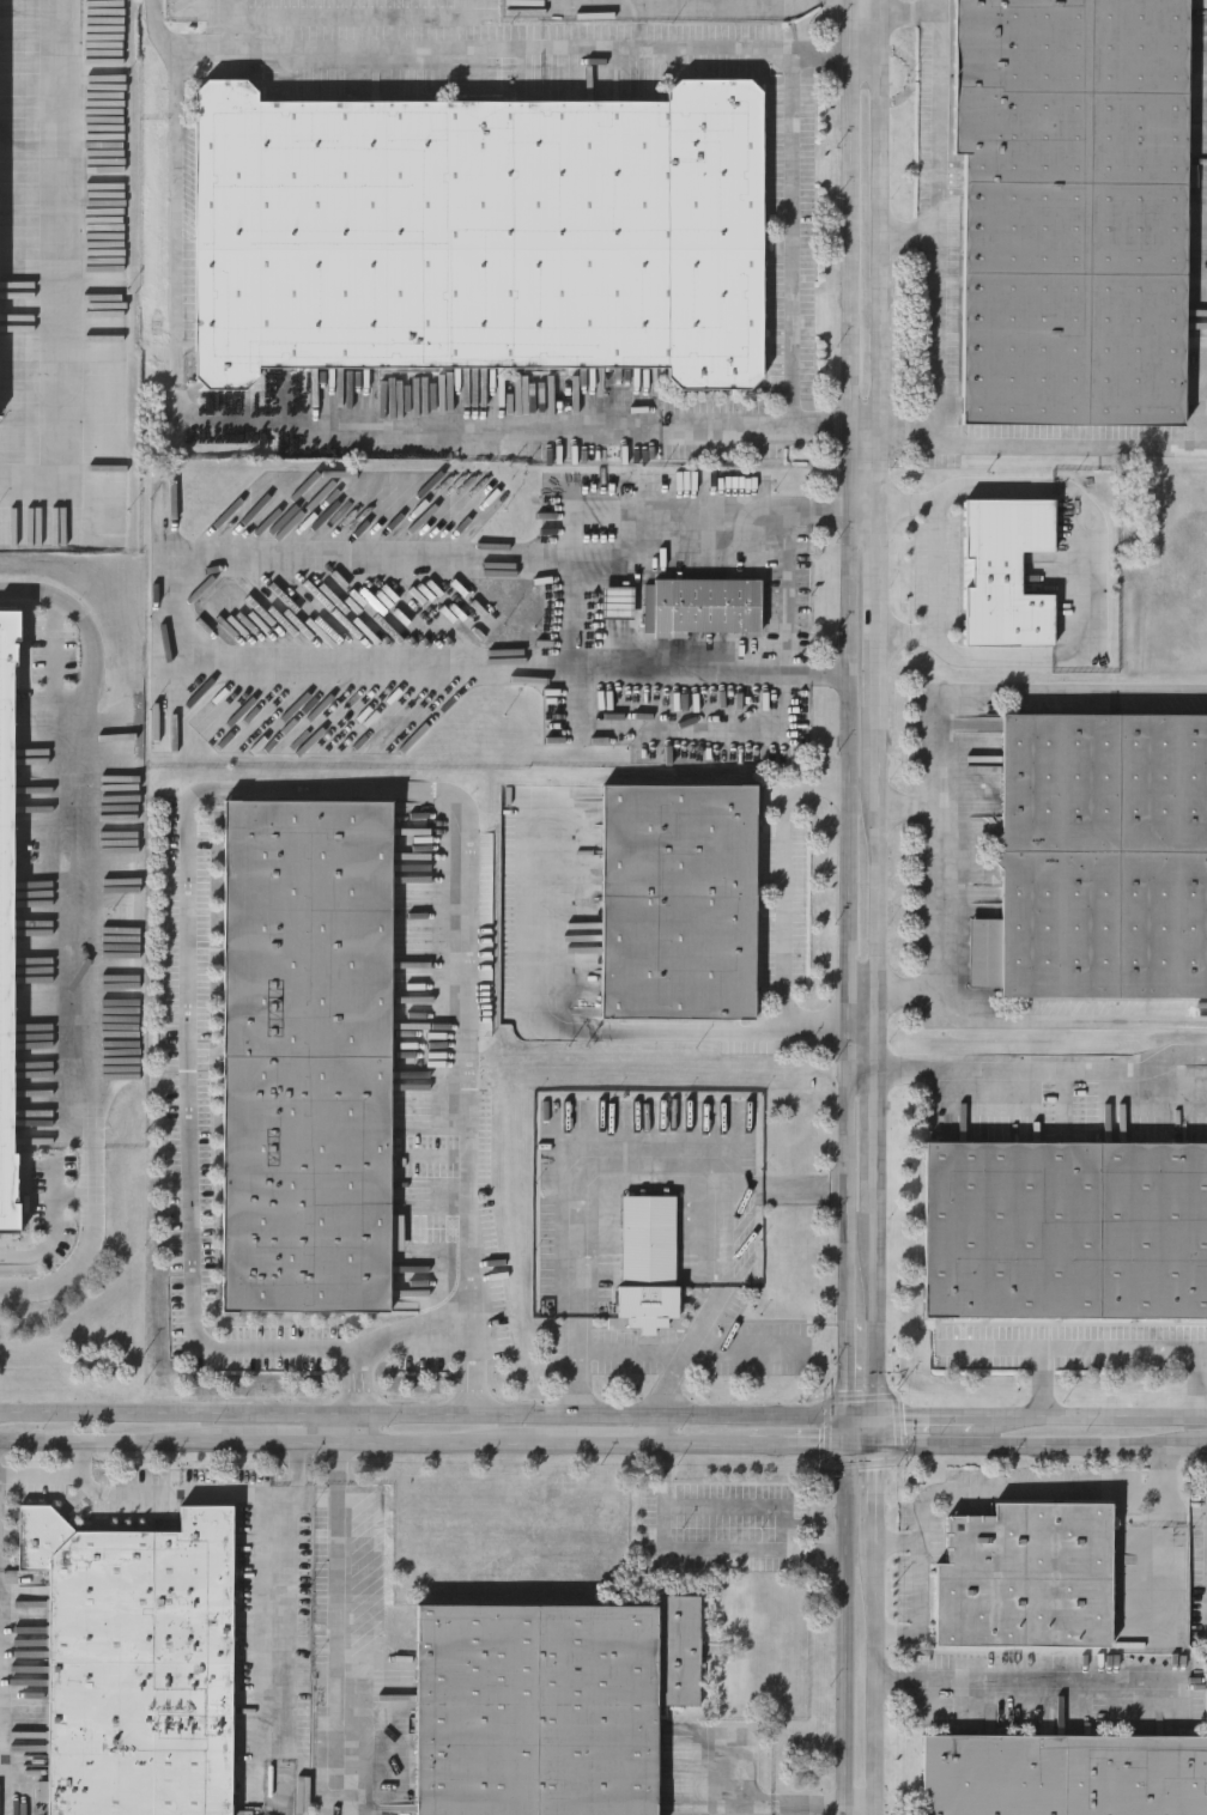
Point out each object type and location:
road: (936, 6)
road: (226, 24)
road: (358, 48)
road: (668, 49)
road: (863, 57)
road: (935, 92)
road: (178, 190)
building: (1075, 212)
building: (477, 233)
road: (793, 244)
road: (59, 267)
road: (934, 323)
road: (863, 420)
road: (878, 423)
road: (406, 427)
road: (726, 432)
road: (1057, 445)
road: (742, 508)
road: (862, 508)
building: (704, 512)
road: (936, 570)
building: (1006, 573)
road: (1094, 579)
road: (793, 587)
building: (706, 608)
road: (184, 609)
road: (596, 654)
road: (596, 686)
road: (1081, 692)
road: (847, 711)
road: (716, 715)
road: (242, 793)
building: (1106, 867)
road: (953, 872)
building: (679, 900)
road: (786, 912)
building: (7, 940)
road: (90, 941)
road: (1059, 1016)
road: (863, 1025)
road: (553, 1030)
building: (304, 1054)
road: (1043, 1070)
road: (877, 1134)
road: (663, 1149)
road: (714, 1243)
building: (1067, 1243)
building: (649, 1264)
road: (575, 1285)
road: (741, 1343)
road: (1120, 1348)
road: (418, 1349)
road: (1092, 1419)
road: (423, 1420)
road: (927, 1421)
traffic signals: (848, 1422)
road: (862, 1422)
traffic signals: (878, 1422)
road: (329, 1429)
road: (659, 1433)
road: (878, 1435)
road: (285, 1439)
road: (120, 1440)
road: (438, 1441)
road: (603, 1444)
road: (704, 1445)
road: (813, 1446)
traffic signals: (848, 1447)
road: (1042, 1447)
traffic signals: (878, 1449)
road: (1164, 1469)
road: (56, 1475)
road: (211, 1491)
road: (976, 1492)
road: (899, 1542)
road: (748, 1546)
road: (812, 1546)
building: (1027, 1576)
road: (845, 1619)
road: (329, 1626)
road: (877, 1631)
road: (897, 1637)
road: (279, 1649)
building: (138, 1662)
road: (1029, 1679)
building: (548, 1704)
building: (1063, 1775)
road: (746, 1803)
road: (861, 1805)

